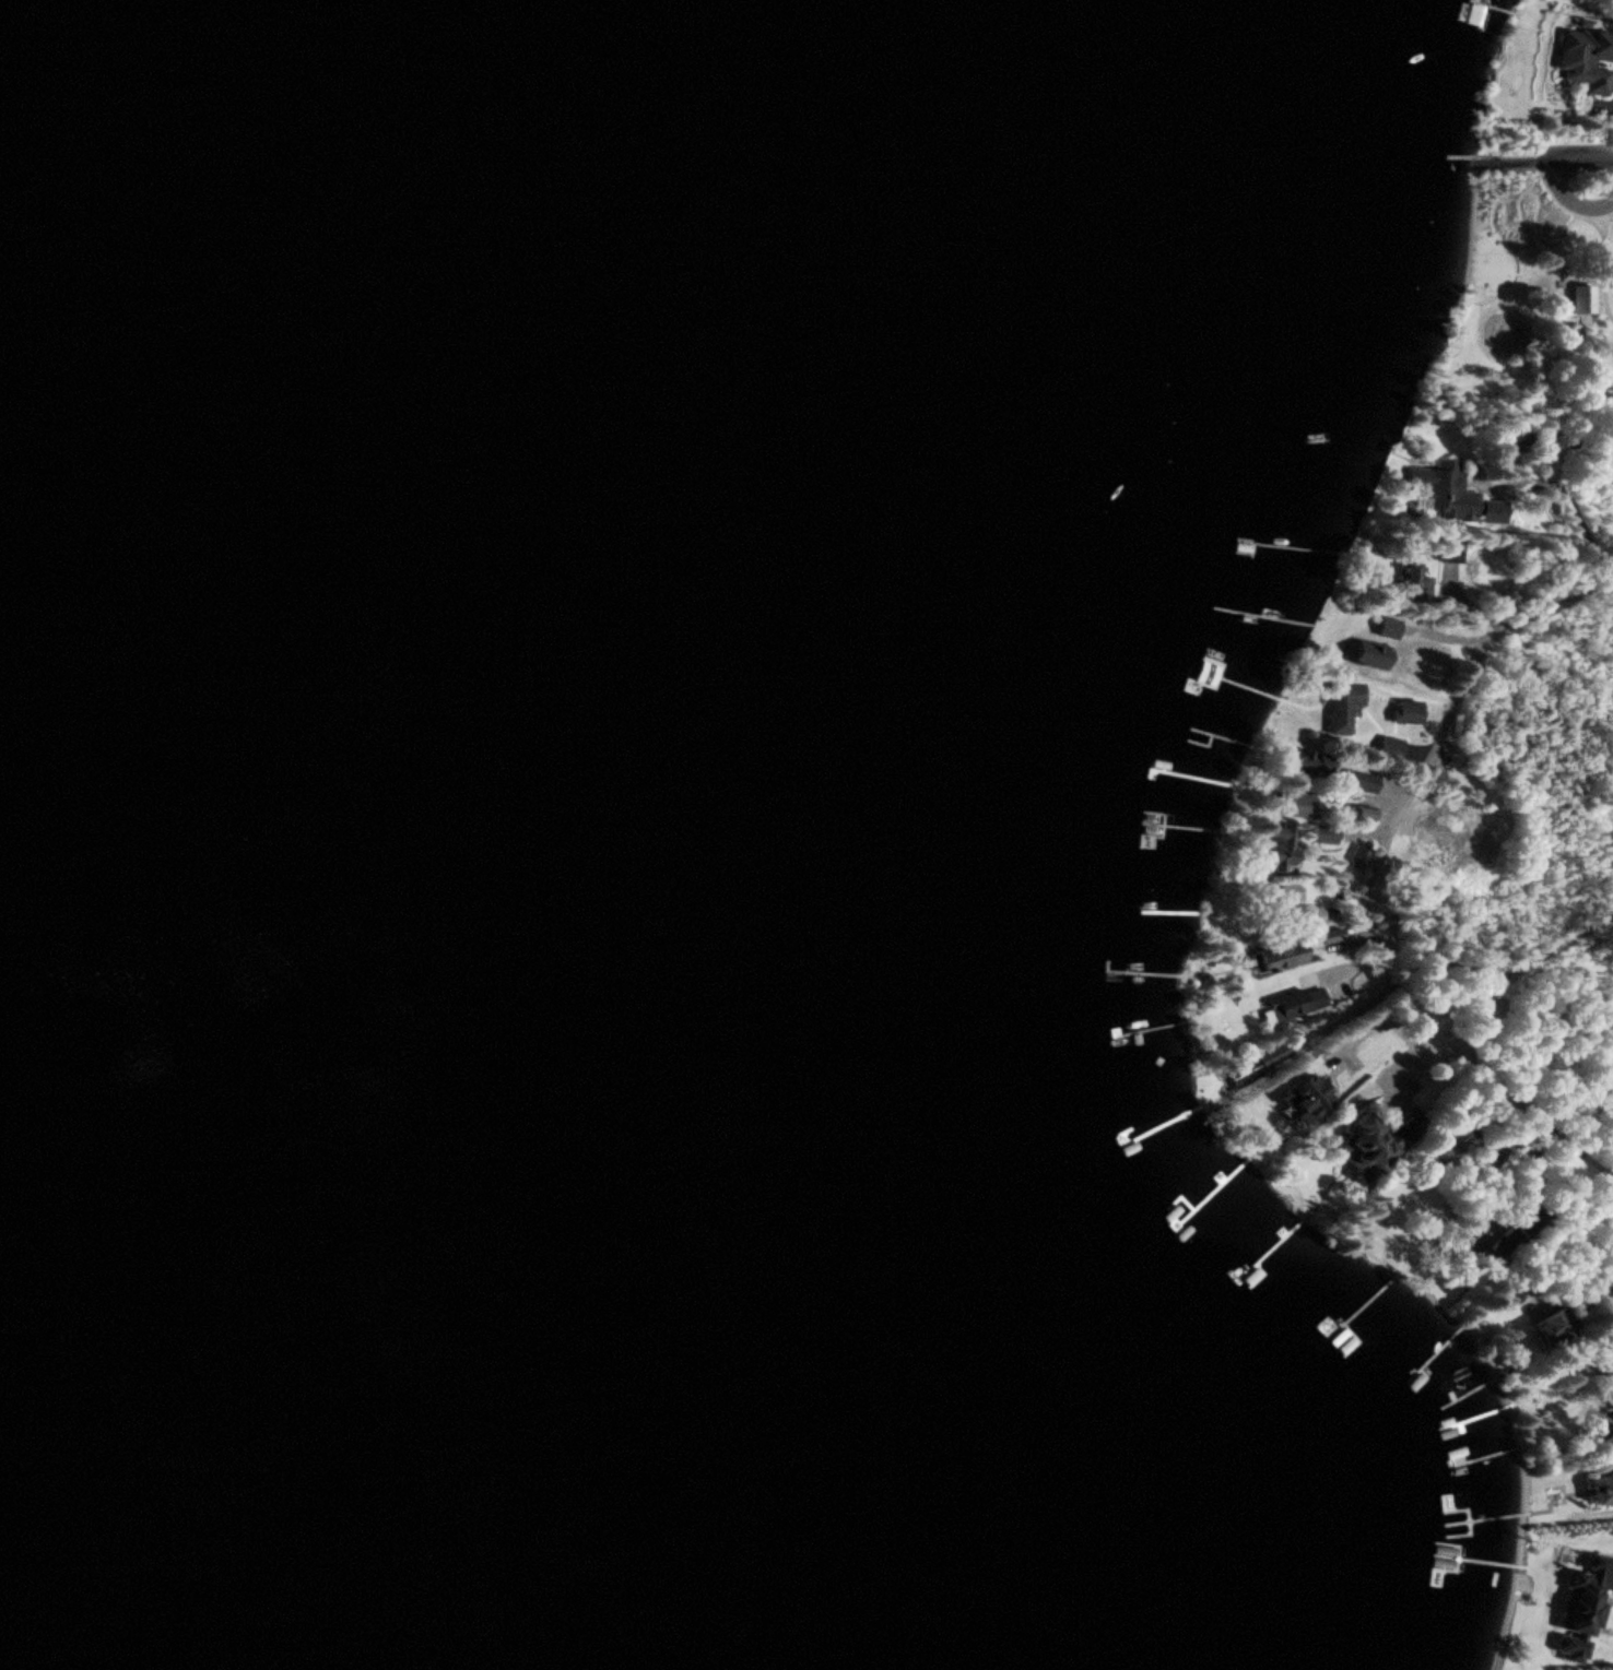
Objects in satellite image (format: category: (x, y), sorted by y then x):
building: (1583, 58)
road: (1549, 170)
road: (1518, 194)
road: (1567, 208)
road: (1605, 222)
road: (1603, 265)
park: (1529, 297)
building: (1452, 494)
building: (1235, 547)
building: (1411, 572)
building: (1371, 654)
road: (1453, 697)
building: (1342, 707)
building: (1405, 711)
building: (1306, 761)
building: (1358, 781)
building: (1294, 805)
building: (1322, 833)
building: (1281, 844)
building: (1356, 857)
building: (1285, 891)
building: (1308, 915)
building: (1330, 935)
building: (1276, 957)
building: (1291, 1004)
building: (1373, 1052)
building: (1257, 1063)
building: (1375, 1141)
building: (1552, 1327)
building: (1602, 1490)
building: (1599, 1584)

